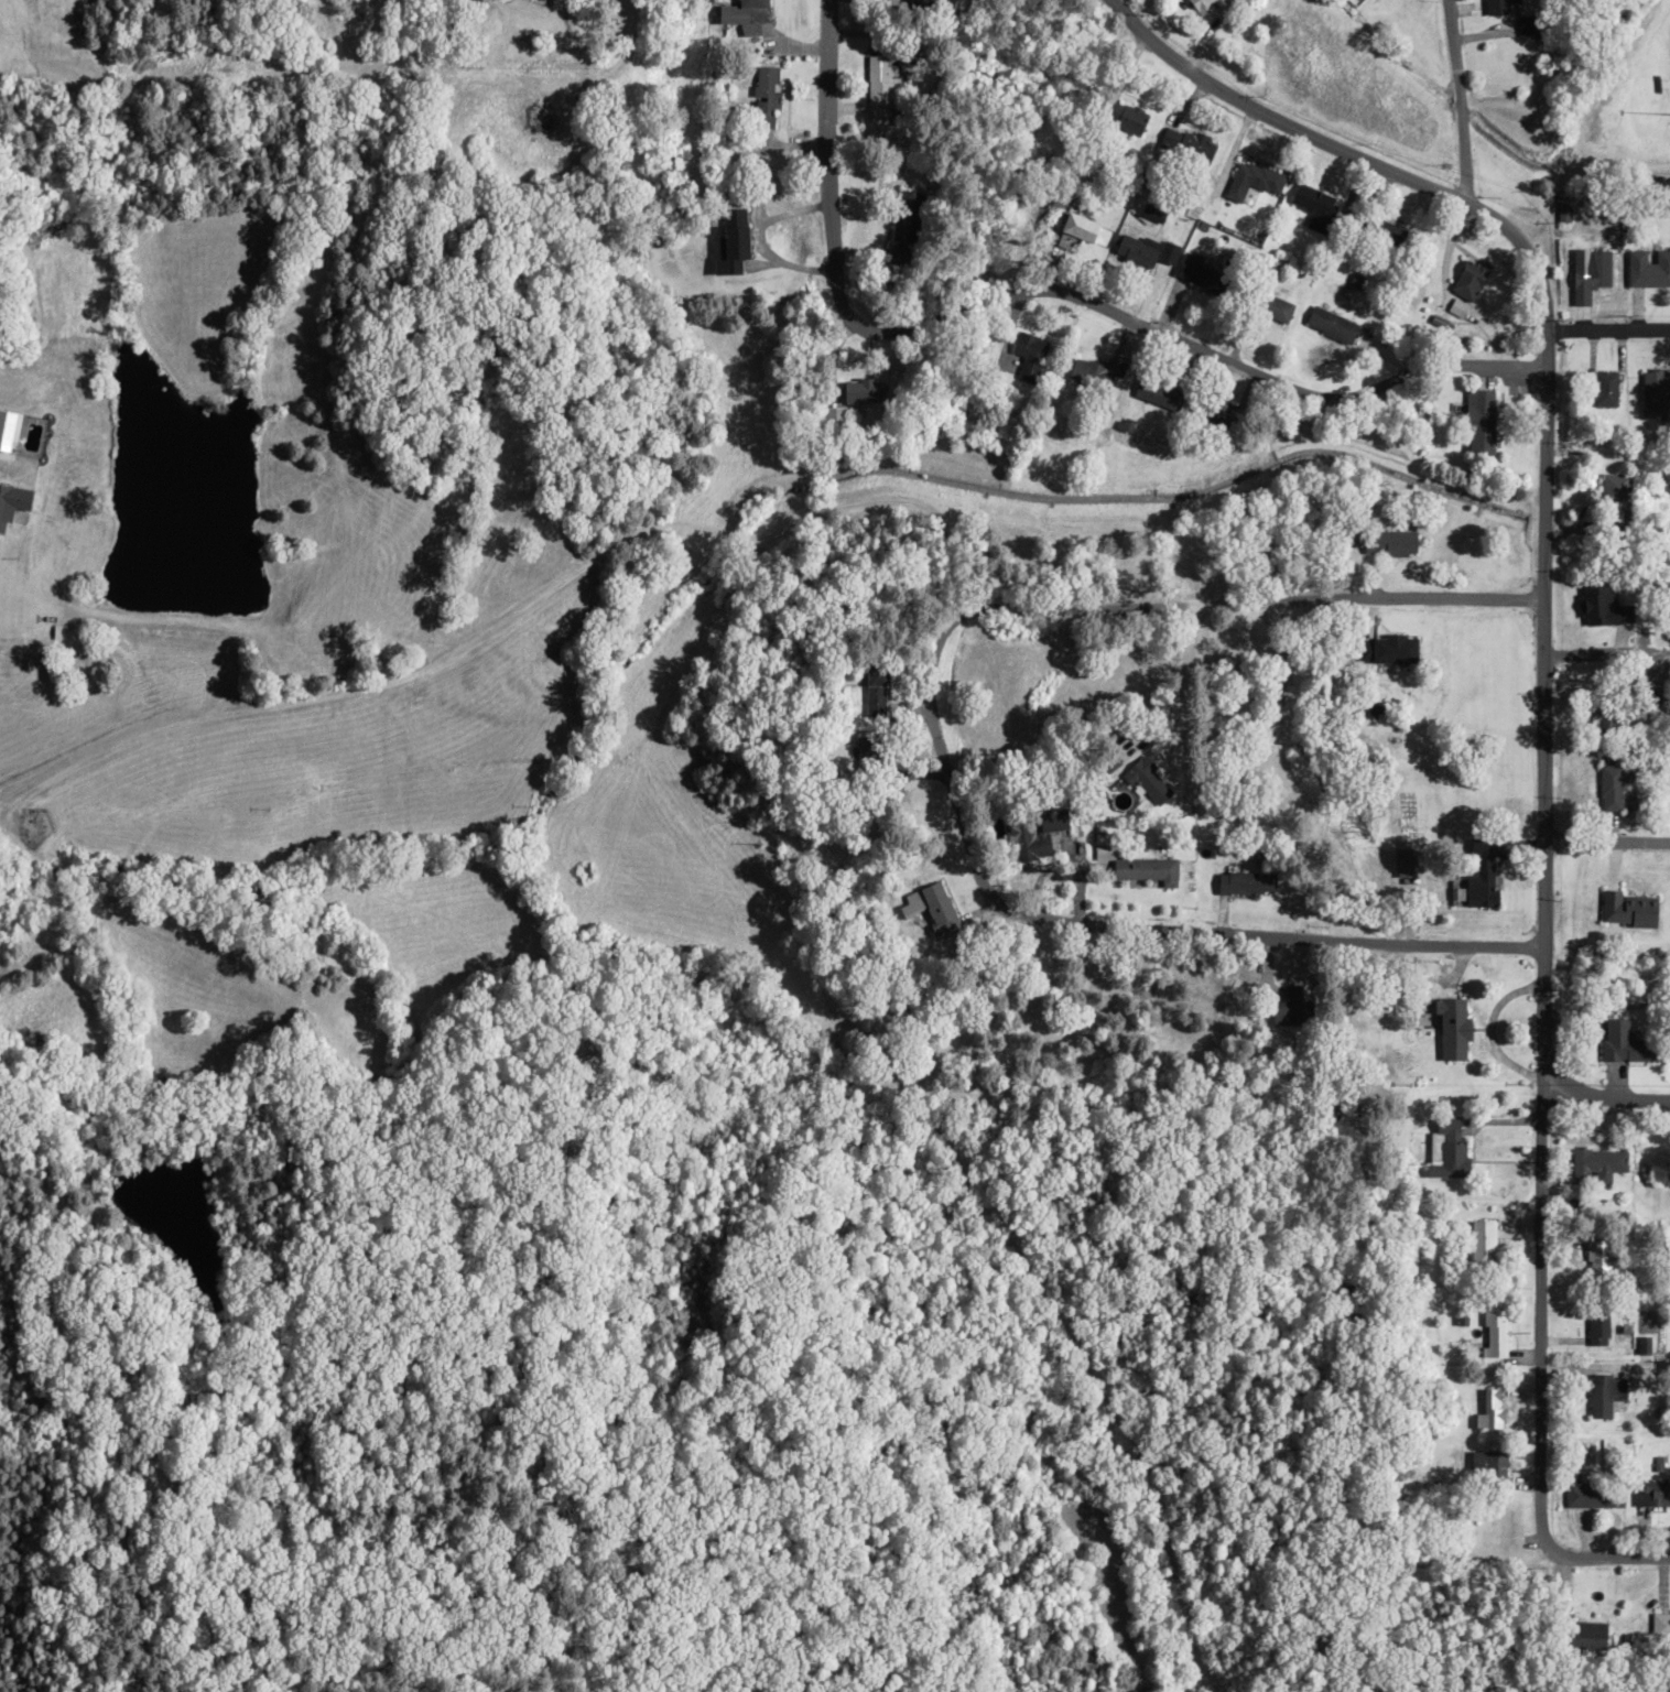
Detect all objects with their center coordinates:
building: (1497, 7)
building: (1201, 9)
building: (741, 15)
road: (666, 25)
building: (879, 88)
building: (762, 98)
road: (1454, 100)
building: (1125, 118)
building: (1185, 142)
building: (1252, 182)
building: (1313, 206)
building: (902, 225)
building: (1077, 227)
building: (1377, 232)
building: (729, 242)
building: (1134, 251)
building: (1648, 269)
building: (1591, 270)
building: (1196, 272)
building: (1466, 274)
road: (1044, 292)
building: (1271, 307)
building: (1330, 324)
road: (1607, 330)
building: (1027, 355)
building: (1092, 376)
building: (1599, 389)
building: (859, 392)
building: (1653, 392)
building: (1157, 393)
road: (1547, 413)
building: (1225, 415)
building: (833, 423)
building: (1478, 423)
building: (1614, 500)
building: (12, 502)
building: (1387, 543)
road: (1255, 617)
road: (510, 620)
building: (1390, 648)
building: (874, 690)
building: (1605, 720)
building: (1147, 780)
building: (1668, 780)
building: (1607, 787)
building: (1040, 834)
road: (1605, 838)
building: (1402, 861)
building: (1145, 869)
building: (1479, 877)
building: (1244, 882)
building: (930, 905)
building: (1627, 908)
road: (1129, 923)
building: (1290, 1007)
building: (1451, 1029)
building: (1624, 1042)
road: (1605, 1096)
building: (1446, 1148)
building: (1595, 1163)
building: (1481, 1240)
building: (1596, 1257)
road: (1539, 1309)
building: (1596, 1326)
building: (1494, 1332)
building: (1603, 1392)
building: (1490, 1407)
building: (1486, 1466)
building: (1590, 1493)
building: (1655, 1493)
road: (1606, 1557)
building: (1659, 1623)
building: (1582, 1634)

